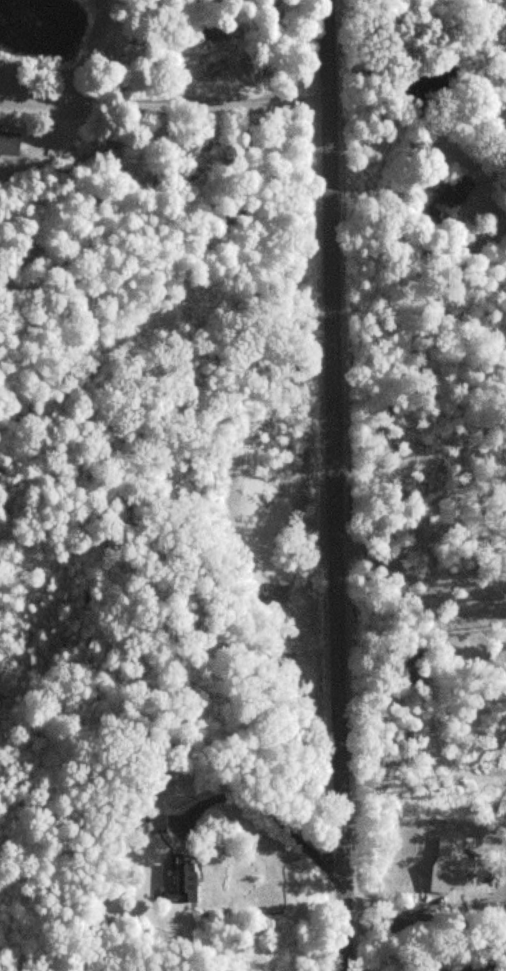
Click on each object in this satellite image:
building: (8, 143)
building: (451, 196)
road: (333, 485)
building: (183, 884)

